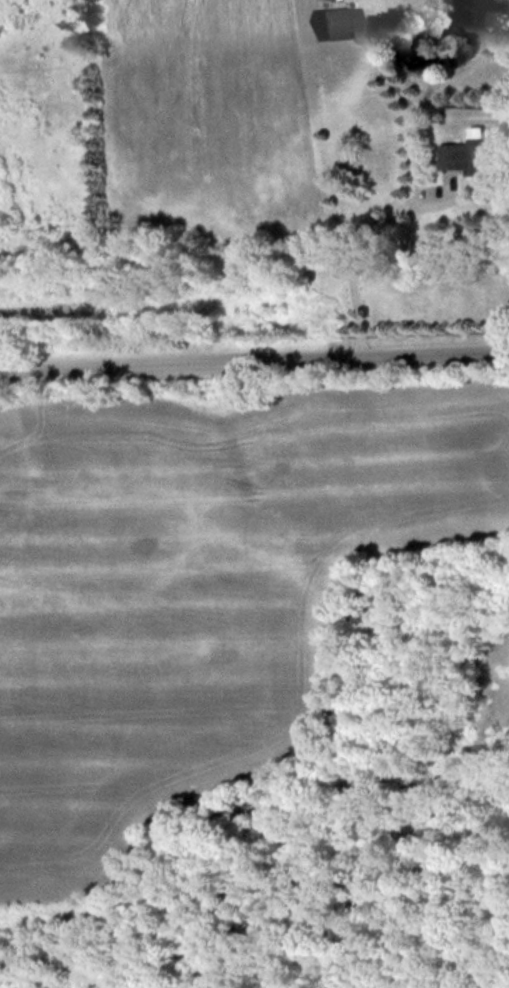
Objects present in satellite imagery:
building: (336, 22)
building: (471, 153)
road: (362, 244)
road: (254, 350)

